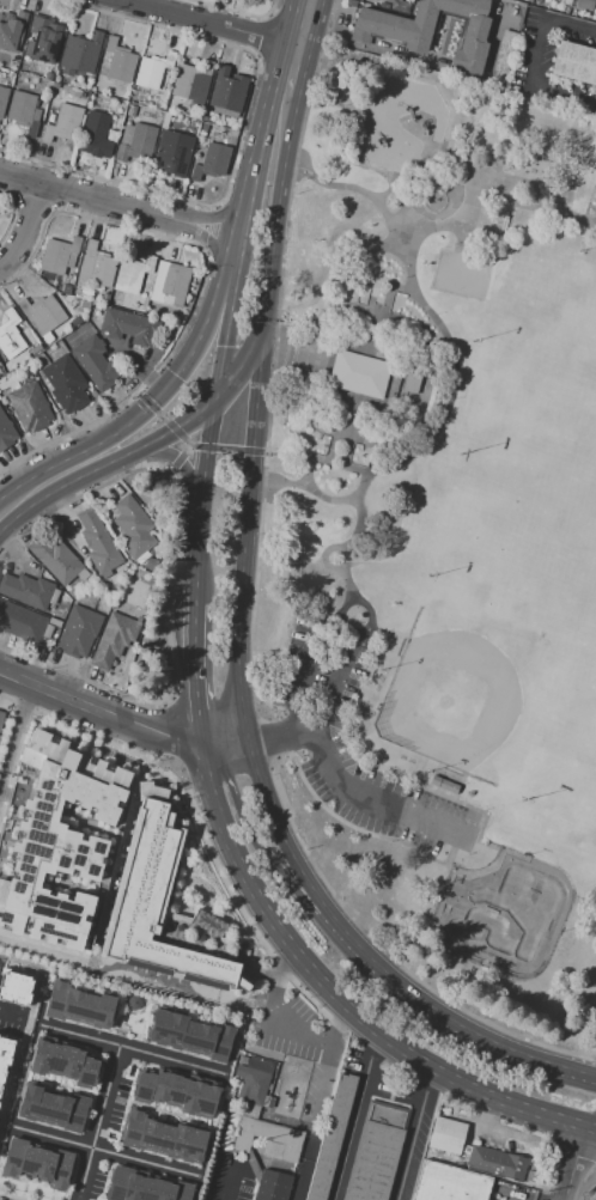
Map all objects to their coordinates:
building: (389, 1)
building: (594, 1)
road: (205, 24)
road: (299, 24)
building: (431, 30)
building: (12, 32)
building: (44, 43)
building: (80, 53)
road: (534, 61)
building: (120, 62)
building: (574, 63)
road: (428, 68)
building: (153, 72)
road: (291, 73)
building: (190, 80)
building: (227, 90)
building: (2, 99)
building: (23, 109)
building: (130, 110)
building: (63, 123)
building: (164, 123)
building: (194, 126)
building: (203, 126)
building: (95, 135)
building: (215, 135)
road: (260, 140)
building: (135, 142)
building: (174, 152)
park: (571, 158)
building: (212, 162)
road: (116, 203)
road: (280, 209)
road: (24, 226)
traffic signals: (233, 234)
road: (438, 249)
building: (59, 255)
building: (97, 264)
building: (133, 274)
road: (353, 275)
building: (170, 284)
road: (403, 288)
building: (89, 293)
building: (108, 300)
building: (85, 304)
building: (42, 313)
road: (230, 317)
building: (180, 319)
building: (75, 321)
traffic signals: (267, 322)
building: (128, 327)
building: (11, 335)
building: (48, 337)
park: (541, 337)
building: (66, 339)
traffic signals: (225, 346)
building: (35, 349)
road: (272, 352)
road: (296, 358)
building: (95, 361)
building: (359, 373)
building: (412, 382)
building: (65, 383)
road: (230, 383)
traffic signals: (217, 401)
road: (150, 403)
building: (30, 406)
road: (153, 408)
building: (6, 431)
traffic signals: (170, 432)
road: (394, 432)
road: (434, 443)
road: (215, 445)
road: (181, 456)
traffic signals: (253, 457)
road: (181, 459)
road: (320, 459)
road: (341, 463)
road: (87, 476)
road: (208, 488)
road: (358, 488)
park: (518, 511)
building: (133, 528)
road: (250, 530)
park: (440, 532)
building: (98, 542)
park: (510, 543)
road: (345, 544)
building: (57, 560)
building: (151, 564)
building: (26, 590)
building: (72, 592)
building: (22, 622)
building: (78, 632)
building: (114, 640)
road: (180, 659)
road: (200, 662)
park: (495, 686)
road: (126, 717)
building: (1, 719)
road: (16, 726)
road: (292, 736)
traffic signals: (255, 739)
parking lot: (353, 747)
road: (17, 748)
traffic signals: (205, 748)
road: (375, 750)
road: (170, 757)
road: (211, 776)
road: (1, 779)
road: (351, 784)
road: (269, 803)
road: (245, 812)
road: (121, 833)
road: (183, 839)
building: (57, 840)
road: (178, 895)
building: (162, 907)
park: (503, 914)
road: (253, 925)
road: (267, 937)
road: (43, 944)
road: (254, 948)
road: (364, 949)
road: (270, 975)
building: (14, 986)
road: (176, 986)
road: (98, 988)
road: (272, 988)
building: (132, 1001)
building: (78, 1005)
road: (142, 1005)
road: (13, 1021)
road: (361, 1021)
road: (25, 1028)
road: (293, 1033)
building: (190, 1034)
road: (130, 1048)
road: (521, 1054)
building: (5, 1058)
building: (63, 1064)
building: (251, 1079)
building: (175, 1091)
road: (116, 1098)
road: (320, 1100)
building: (53, 1107)
road: (87, 1115)
road: (353, 1115)
road: (96, 1121)
road: (592, 1126)
road: (413, 1133)
building: (445, 1134)
building: (266, 1137)
building: (330, 1137)
building: (163, 1139)
road: (104, 1151)
building: (375, 1152)
building: (37, 1163)
building: (497, 1163)
road: (572, 1163)
road: (227, 1183)
building: (449, 1183)
building: (144, 1186)
building: (270, 1186)
road: (523, 1194)

